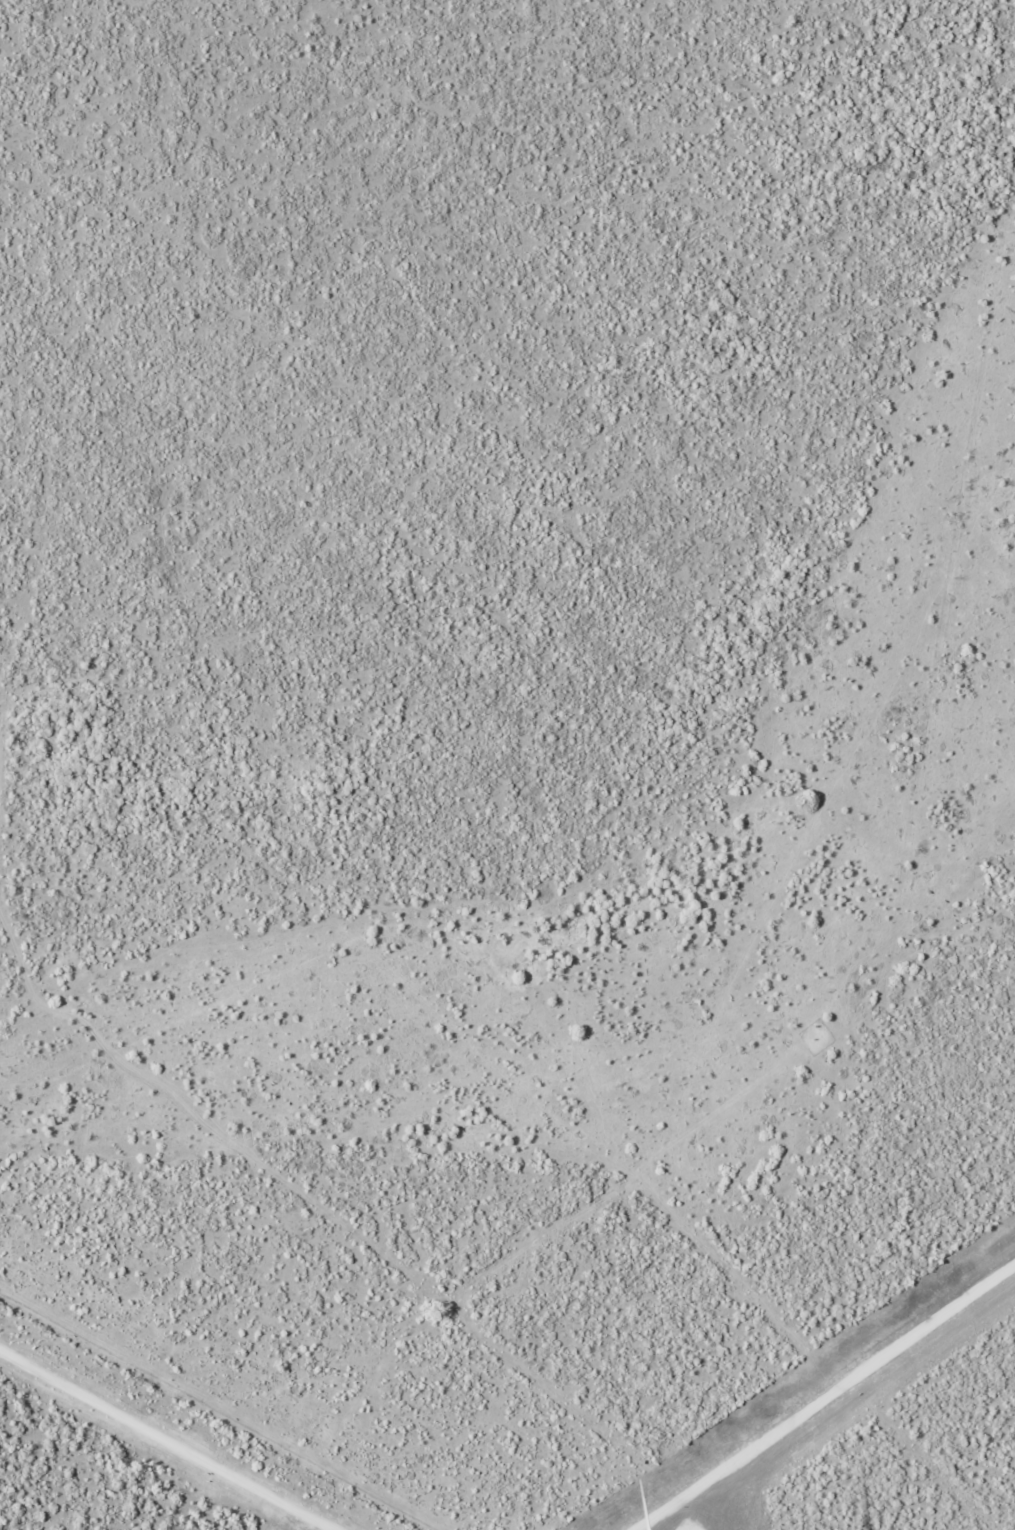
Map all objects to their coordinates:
road: (135, 1456)

